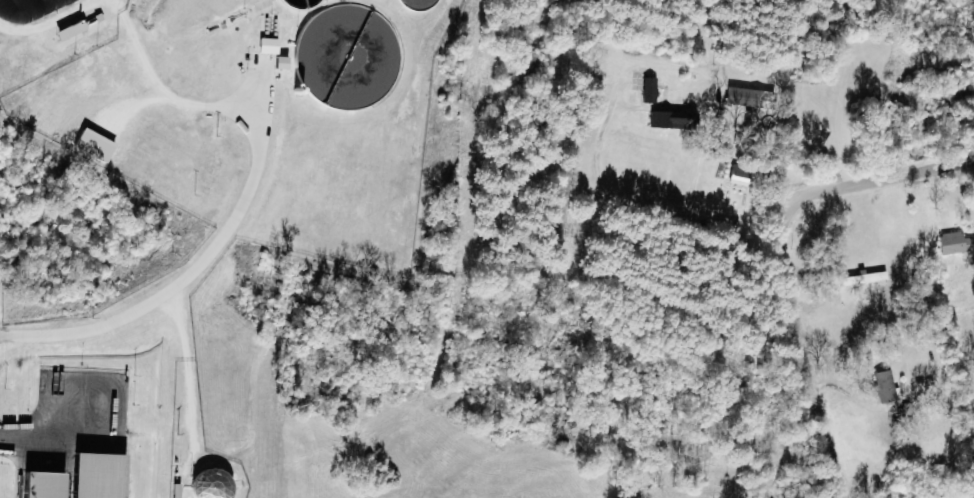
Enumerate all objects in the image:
building: (70, 31)
building: (268, 46)
building: (282, 63)
building: (649, 91)
building: (751, 98)
building: (671, 120)
building: (95, 146)
building: (740, 175)
building: (955, 243)
road: (786, 260)
road: (115, 379)
building: (884, 387)
road: (34, 447)
building: (98, 476)
building: (44, 485)
building: (211, 485)

